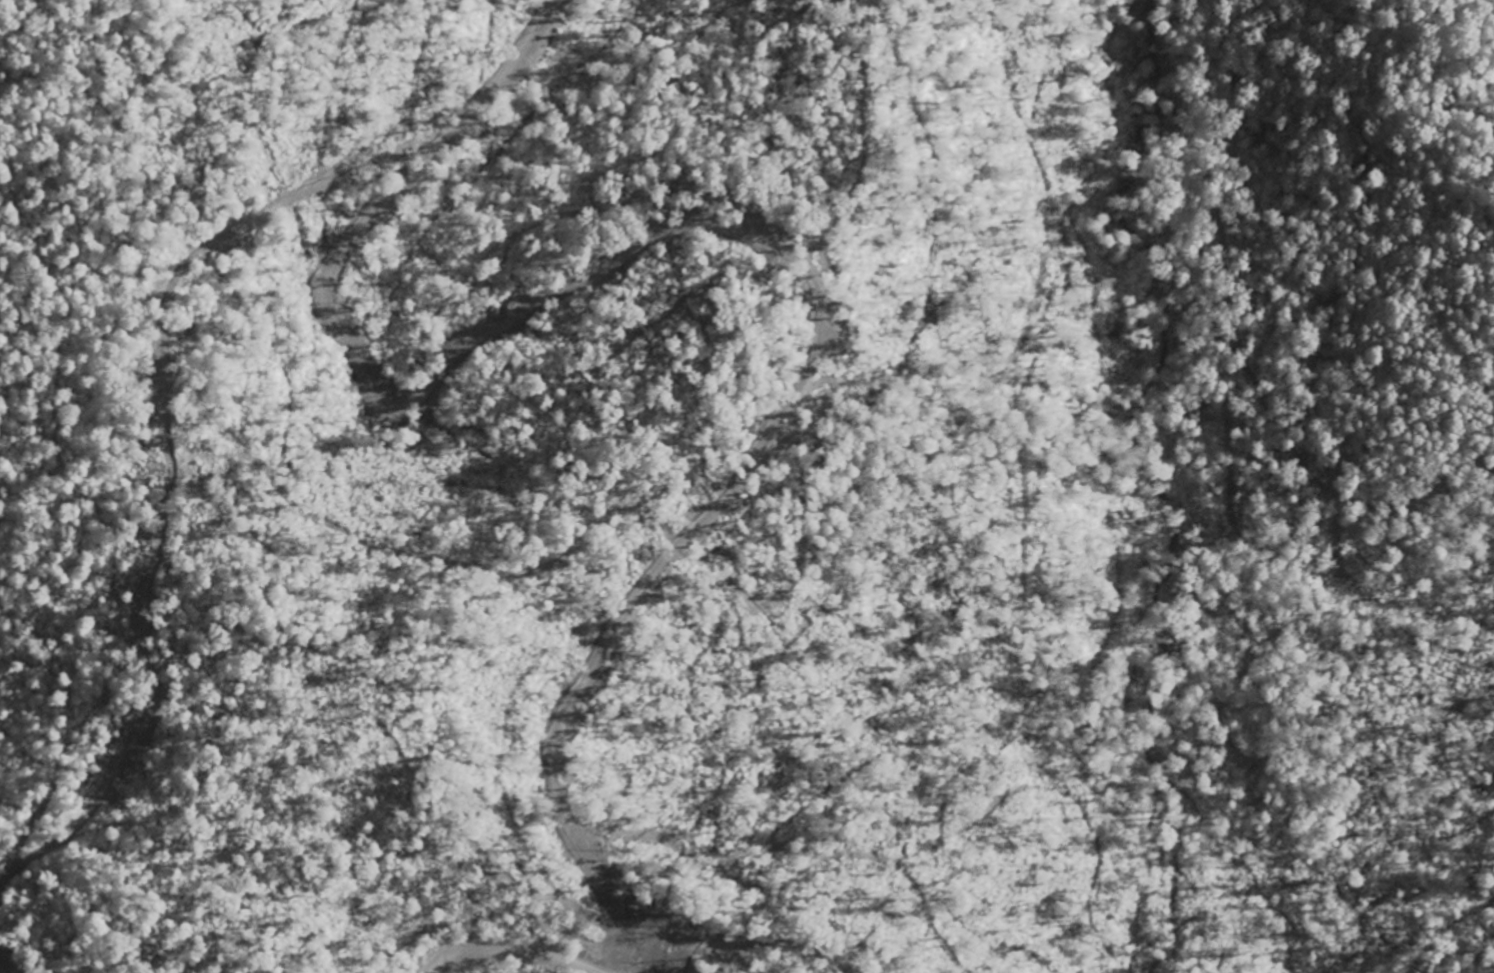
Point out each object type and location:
road: (157, 369)
road: (514, 951)
road: (0, 972)

